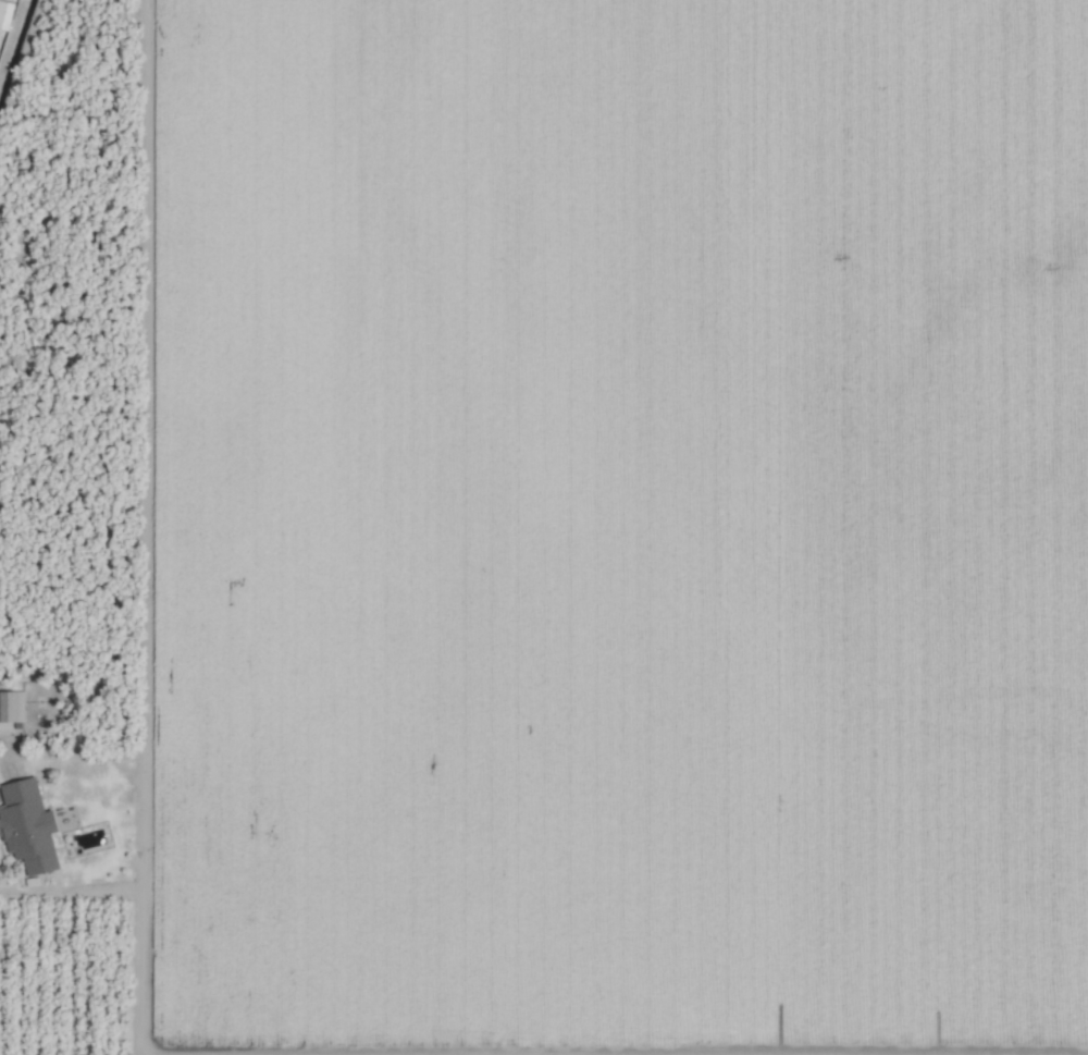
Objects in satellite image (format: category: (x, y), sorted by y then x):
building: (5, 14)
crop: (544, 527)
building: (12, 706)
building: (28, 825)

